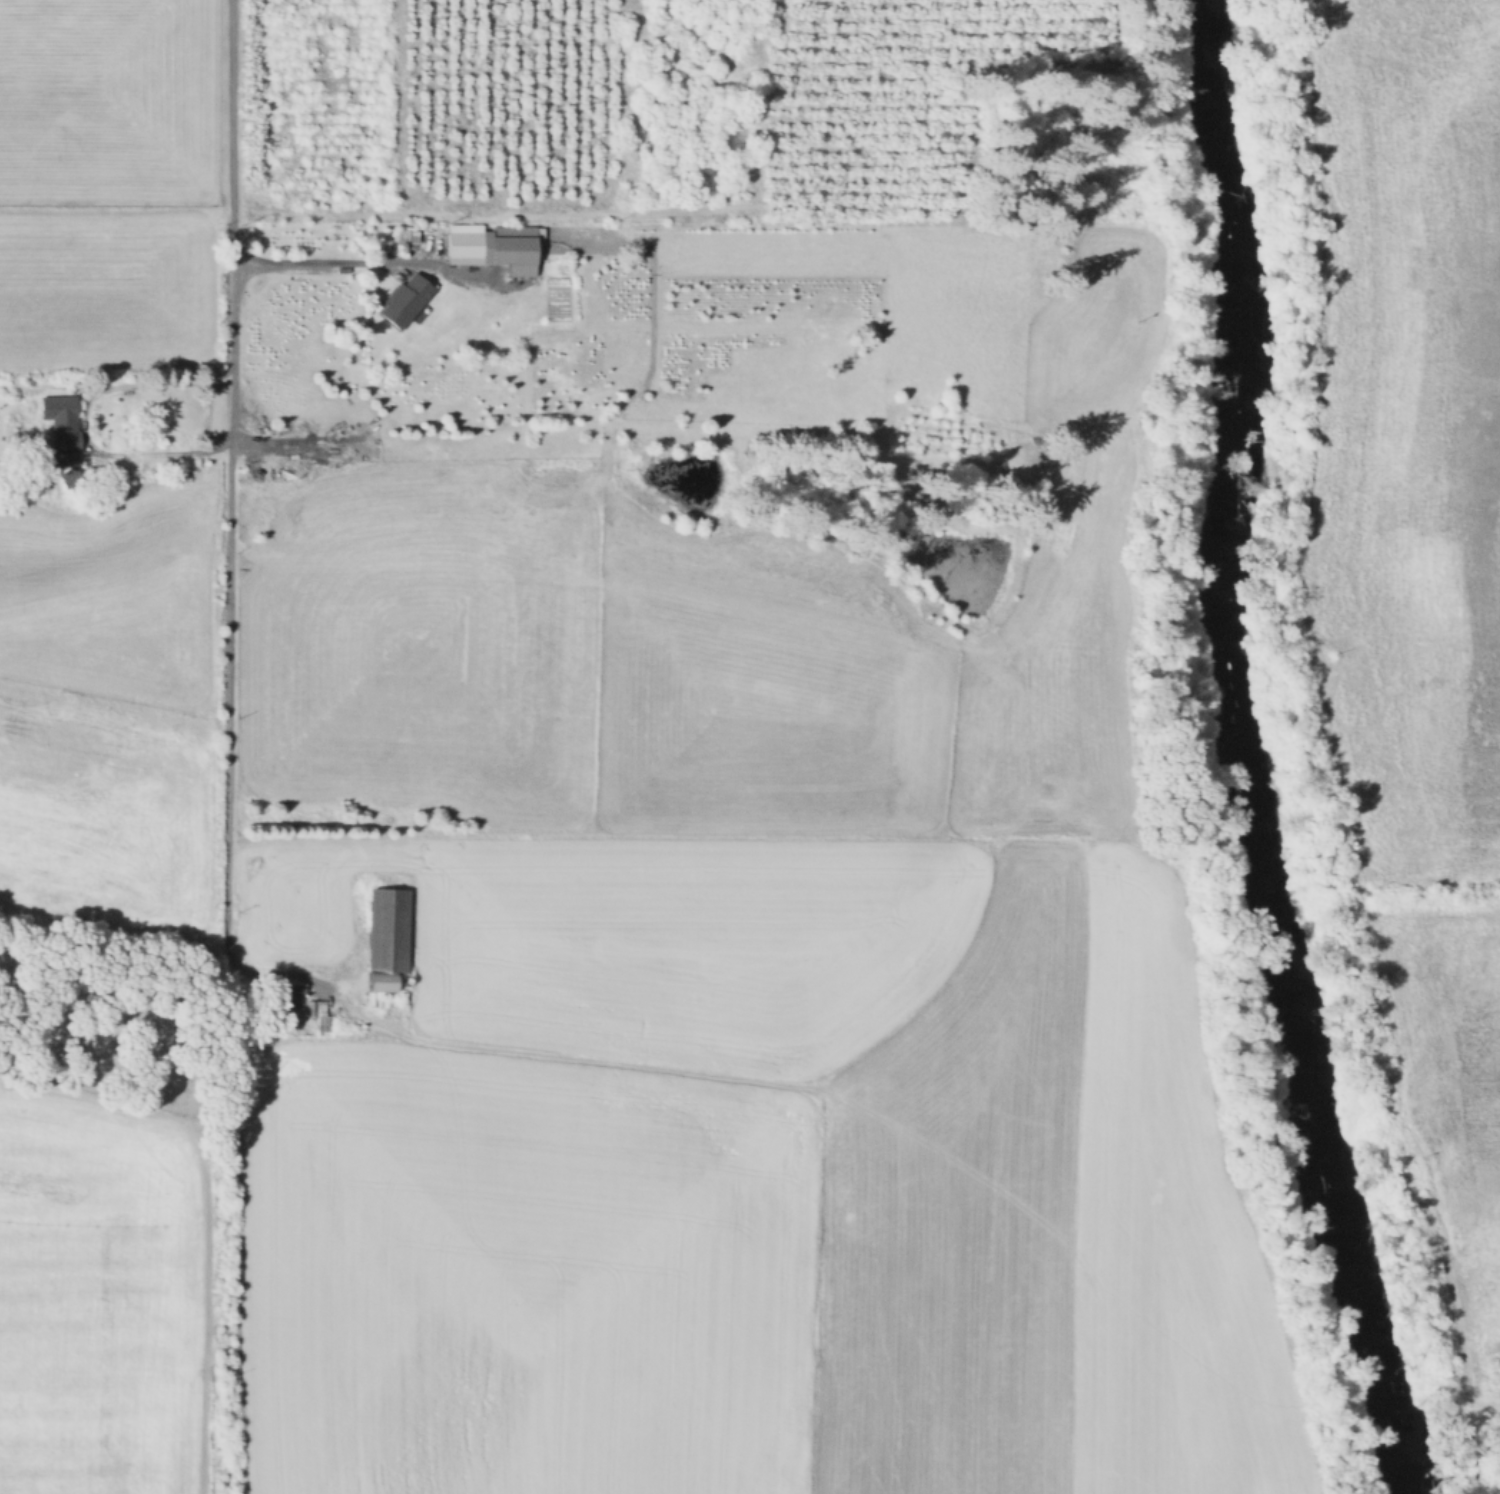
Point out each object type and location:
building: (494, 246)
road: (323, 259)
building: (406, 300)
crop: (1415, 417)
road: (81, 422)
building: (65, 439)
road: (229, 475)
building: (72, 478)
river: (1224, 744)
building: (389, 930)
road: (295, 969)
building: (382, 982)
building: (288, 997)
building: (374, 998)
building: (312, 1007)
building: (327, 1021)
crop: (1448, 1045)
crop: (714, 1156)
road: (205, 1214)
crop: (91, 1304)
road: (1485, 1363)
river: (1388, 1483)

